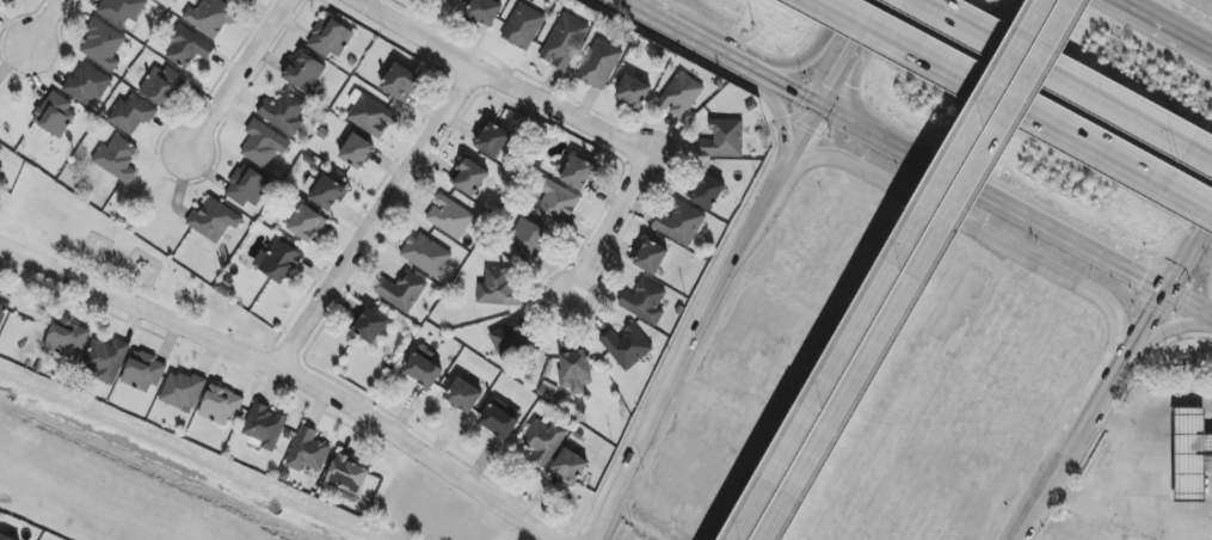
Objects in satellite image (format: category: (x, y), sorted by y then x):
building: (158, 0)
building: (8, 1)
building: (239, 1)
road: (620, 4)
road: (1204, 4)
building: (121, 11)
building: (484, 12)
building: (210, 17)
road: (1153, 19)
road: (44, 26)
building: (523, 26)
building: (330, 38)
road: (693, 39)
building: (565, 42)
road: (1200, 44)
building: (103, 45)
building: (187, 48)
road: (814, 51)
road: (855, 53)
building: (599, 65)
road: (235, 74)
building: (304, 74)
road: (1063, 79)
road: (499, 81)
building: (400, 82)
building: (87, 86)
building: (164, 86)
road: (790, 88)
building: (633, 92)
building: (681, 96)
road: (1016, 105)
traffic signals: (823, 106)
road: (984, 110)
building: (131, 113)
building: (284, 113)
building: (55, 116)
building: (370, 116)
road: (1011, 116)
road: (813, 124)
road: (781, 127)
road: (861, 127)
building: (724, 140)
building: (492, 141)
building: (264, 145)
building: (357, 152)
building: (117, 159)
road: (790, 165)
building: (1, 170)
building: (578, 173)
building: (469, 177)
building: (1, 184)
building: (246, 188)
building: (708, 192)
building: (327, 194)
road: (769, 202)
building: (556, 204)
road: (373, 217)
building: (449, 217)
building: (214, 220)
road: (1030, 220)
building: (307, 225)
building: (679, 225)
road: (610, 227)
road: (1200, 229)
building: (528, 240)
road: (1013, 252)
building: (426, 254)
building: (651, 257)
building: (279, 262)
park: (123, 265)
road: (1176, 271)
building: (497, 288)
building: (401, 292)
traffic signals: (1163, 293)
building: (644, 302)
road: (1187, 305)
building: (4, 308)
road: (1152, 311)
building: (370, 326)
road: (1158, 332)
building: (66, 338)
building: (511, 338)
building: (627, 348)
building: (106, 360)
building: (423, 368)
building: (143, 372)
building: (574, 372)
road: (287, 374)
road: (676, 376)
road: (829, 380)
road: (857, 386)
building: (182, 391)
building: (465, 395)
building: (221, 405)
road: (1150, 417)
building: (500, 419)
building: (264, 427)
road: (1078, 434)
building: (543, 440)
building: (308, 452)
building: (1191, 454)
building: (570, 466)
road: (1122, 470)
building: (347, 477)
road: (1114, 515)
building: (5, 538)

